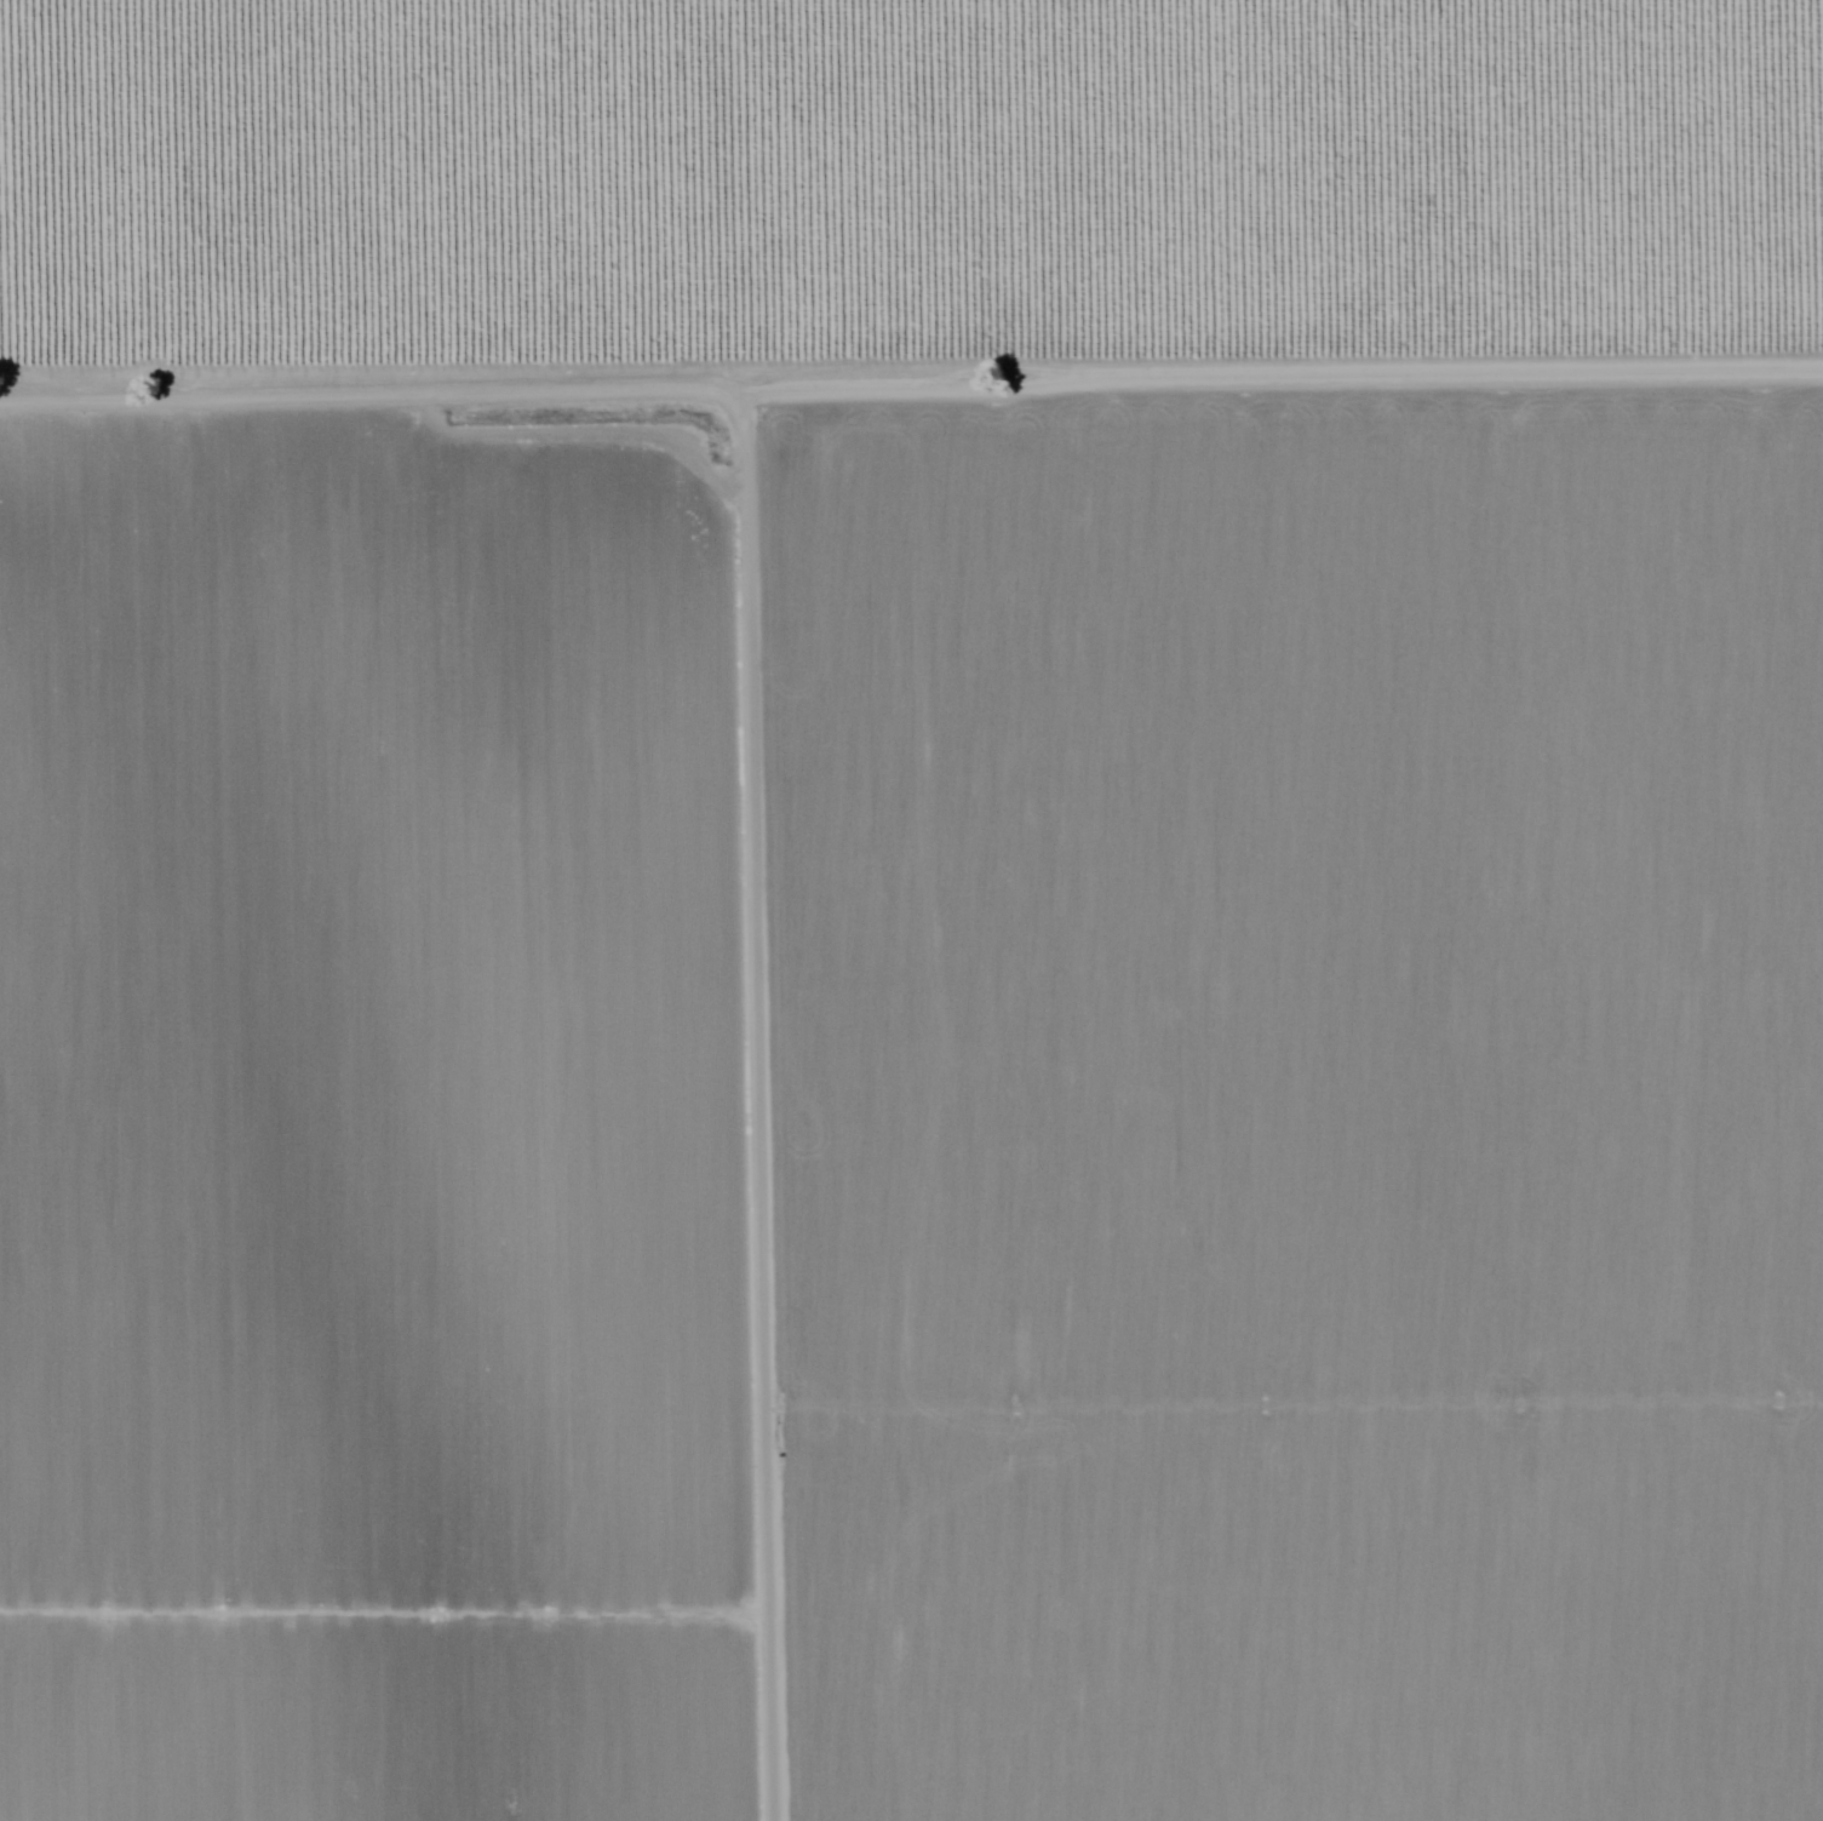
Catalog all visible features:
crop: (1315, 1112)
road: (750, 1113)
crop: (374, 1146)

